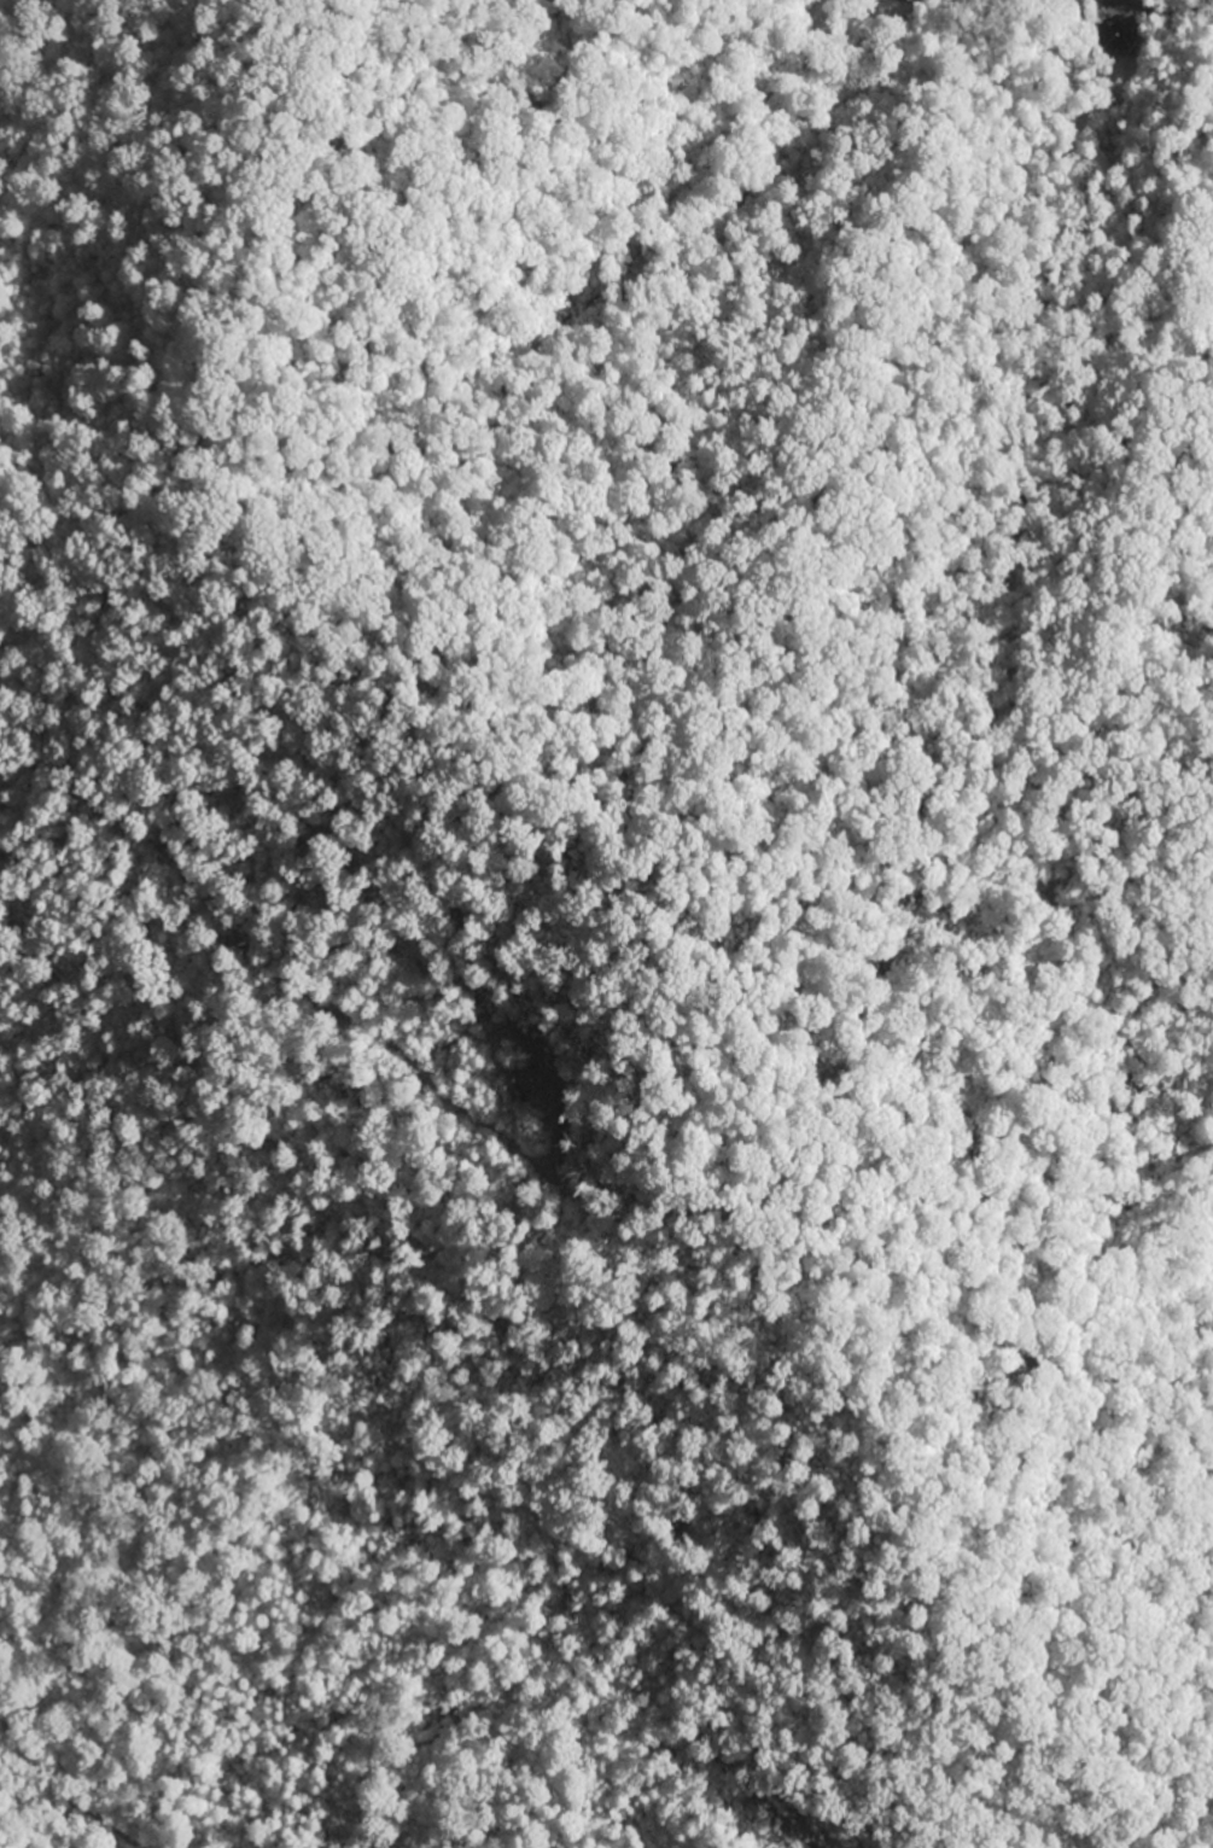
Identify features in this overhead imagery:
road: (100, 1764)

